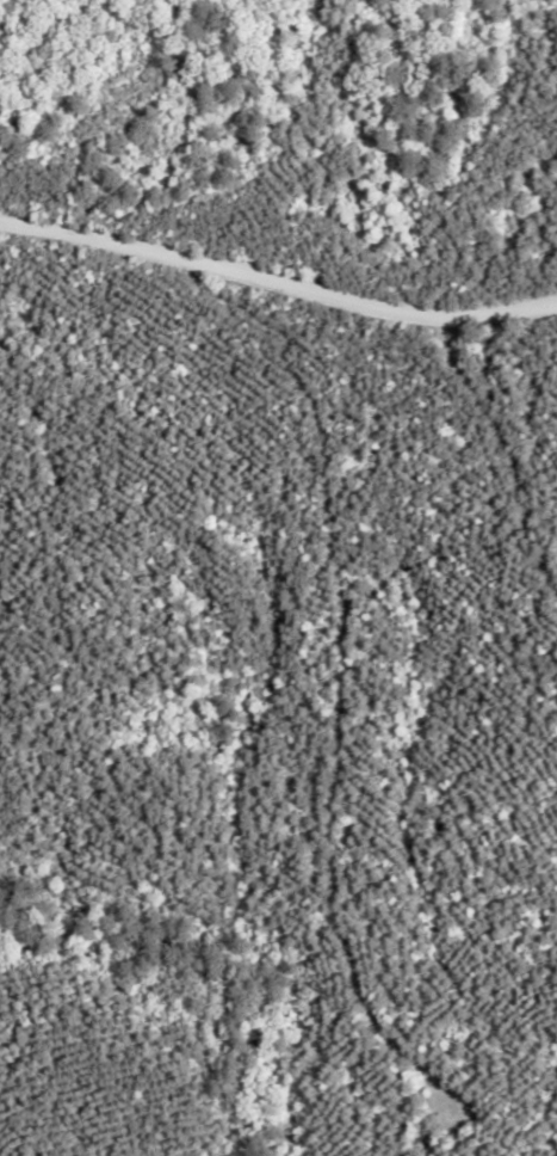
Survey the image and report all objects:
road: (277, 283)

